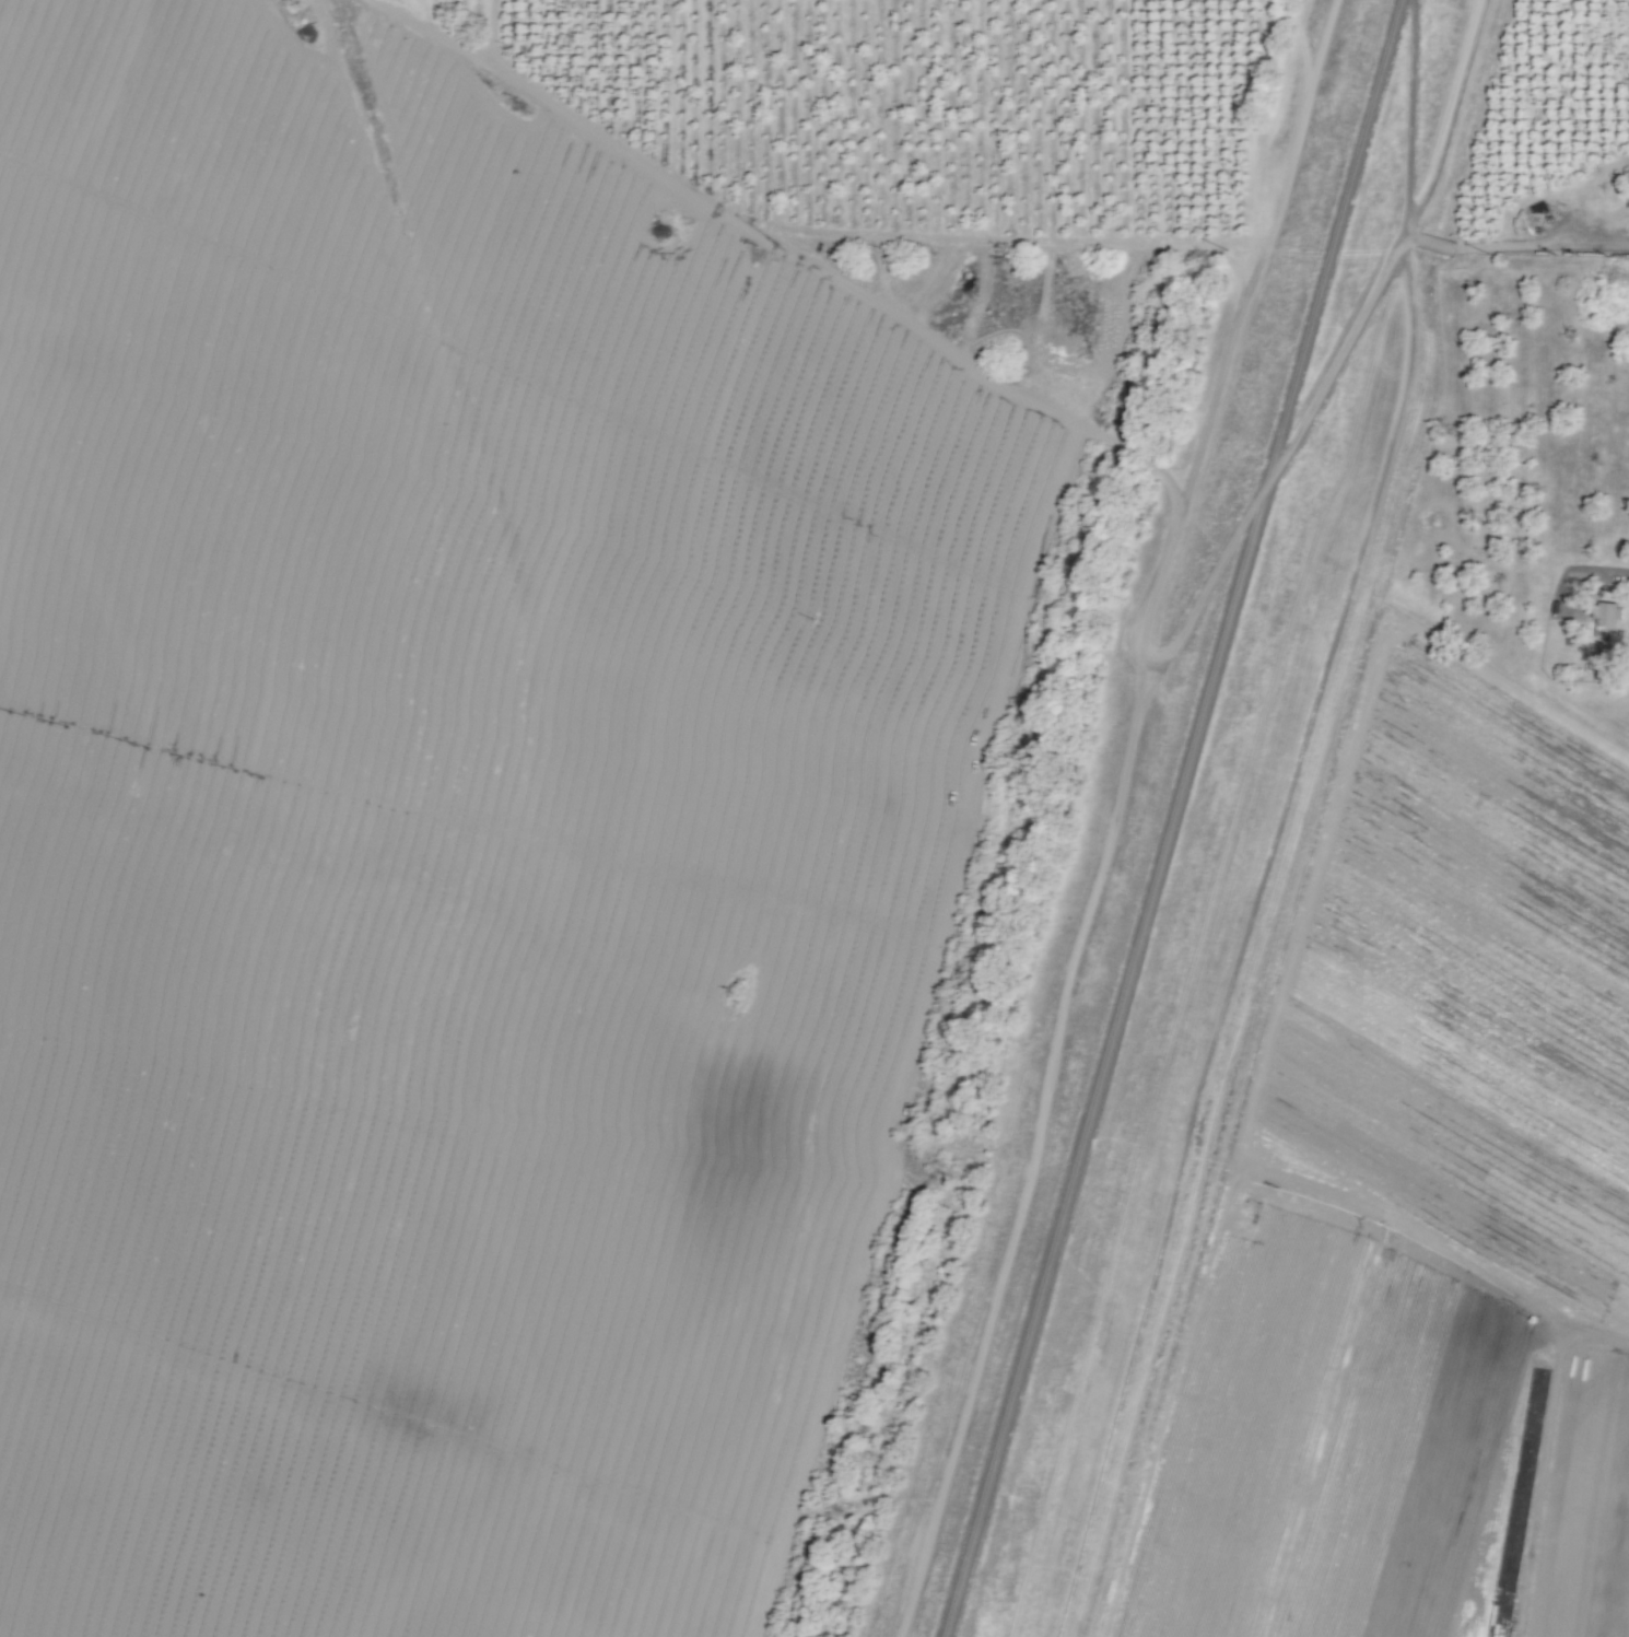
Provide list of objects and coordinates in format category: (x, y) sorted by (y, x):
road: (974, 244)
road: (1601, 569)
building: (1606, 619)

